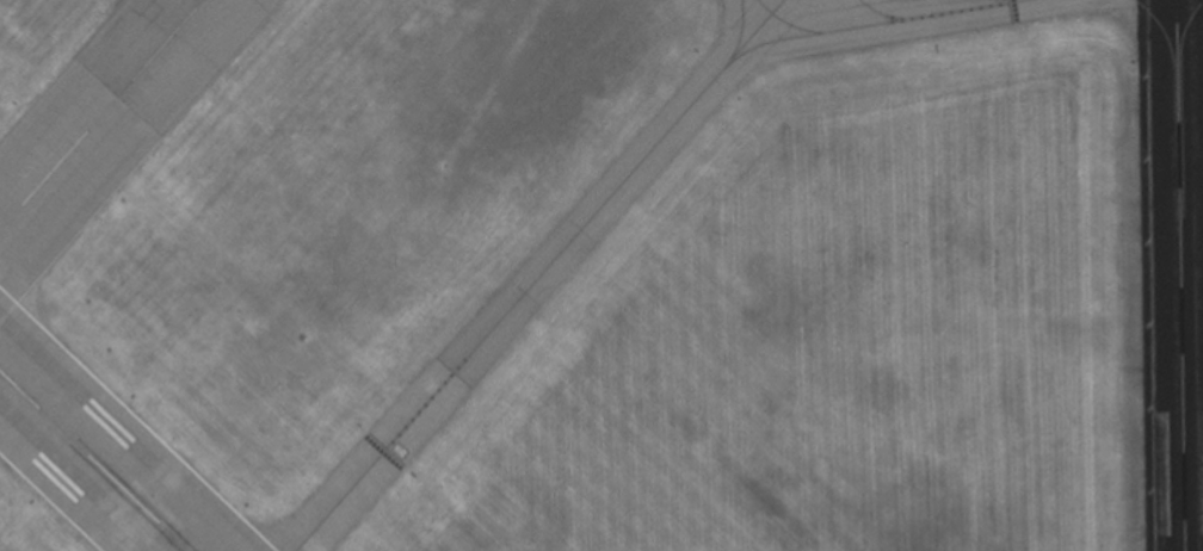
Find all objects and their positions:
airport taxiway: (764, 6)
airport taxiway: (881, 13)
airport taxiway: (890, 20)
airport taxiway: (741, 30)
road: (124, 42)
airport taxiway: (766, 42)
airport runway: (100, 114)
airport taxiway: (538, 274)
airport: (601, 275)
airport runway: (1177, 275)
airport runway: (94, 459)

